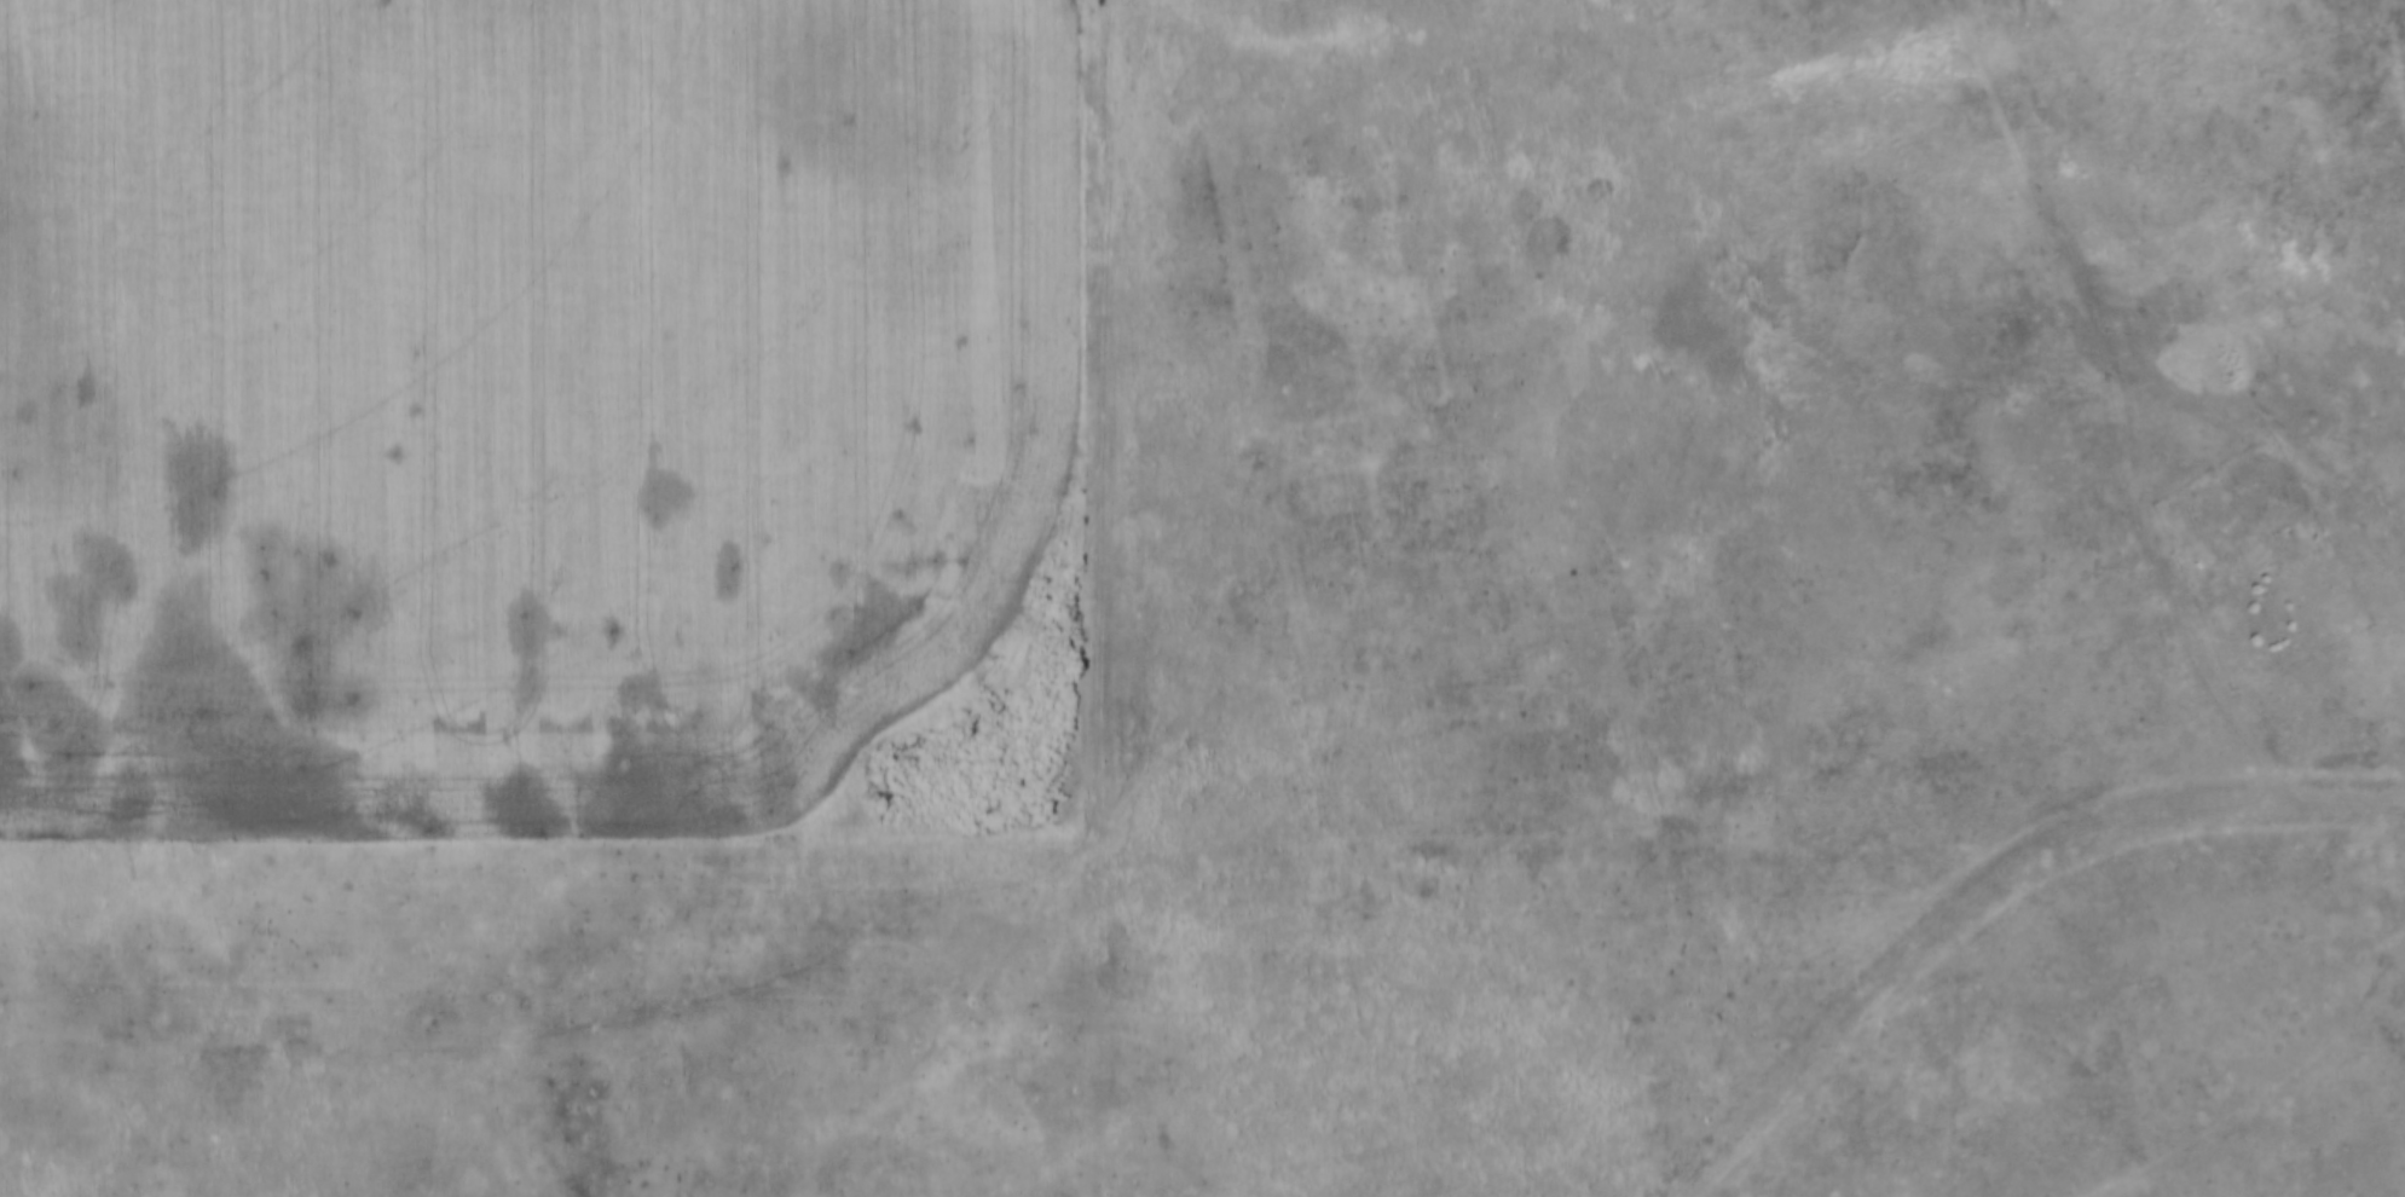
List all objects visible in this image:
crop: (476, 374)
road: (2052, 835)

